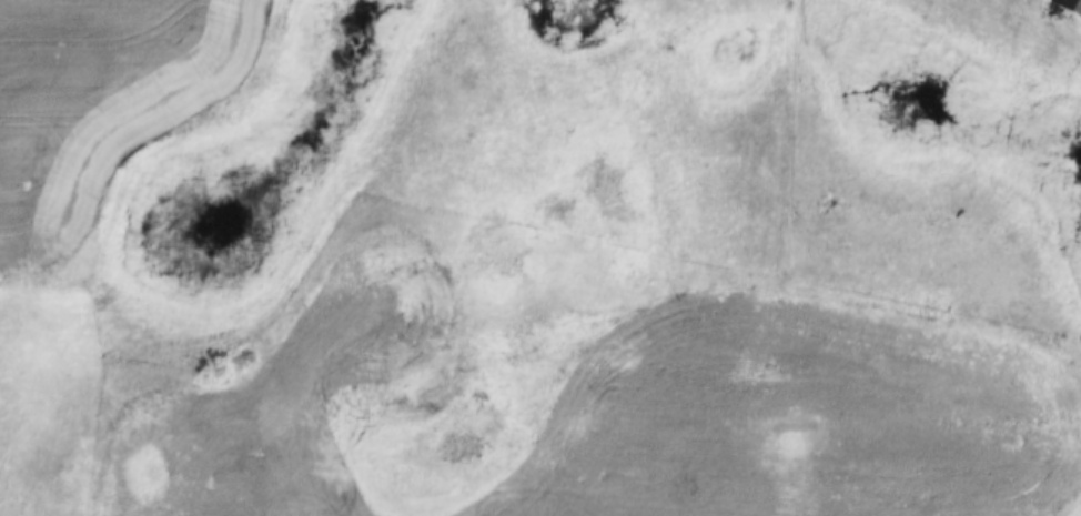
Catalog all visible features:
building: (1075, 2)

